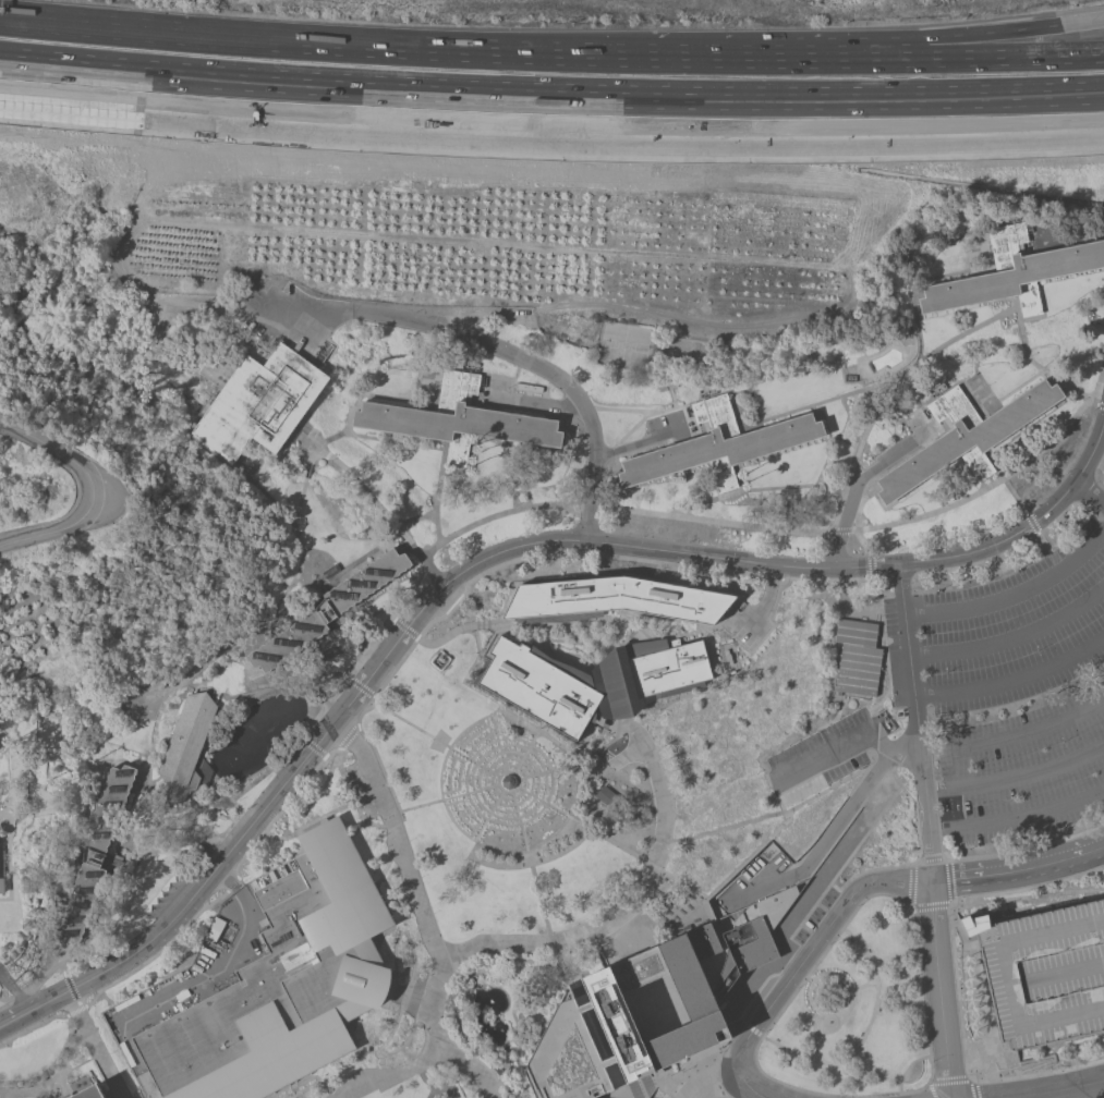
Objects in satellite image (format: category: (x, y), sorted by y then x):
road: (948, 35)
road: (618, 56)
road: (550, 63)
railway: (550, 86)
road: (451, 108)
road: (1005, 111)
road: (1004, 124)
road: (1075, 223)
crop: (175, 259)
building: (1012, 272)
parking lot: (272, 314)
park: (624, 346)
road: (508, 353)
park: (688, 355)
road: (1051, 376)
road: (893, 377)
road: (1052, 379)
road: (898, 383)
parking lot: (495, 386)
road: (1020, 387)
road: (667, 388)
building: (259, 403)
road: (534, 404)
road: (1100, 404)
road: (654, 412)
road: (545, 413)
building: (457, 419)
parking lot: (913, 424)
road: (629, 430)
road: (310, 436)
building: (965, 436)
road: (328, 441)
road: (392, 442)
road: (638, 443)
building: (718, 446)
parking lot: (893, 448)
road: (616, 462)
road: (256, 465)
road: (854, 471)
road: (739, 478)
road: (252, 484)
road: (360, 484)
road: (753, 489)
road: (94, 490)
road: (437, 491)
road: (853, 491)
road: (1089, 491)
road: (857, 514)
road: (416, 520)
road: (1032, 524)
road: (1028, 525)
road: (778, 530)
road: (293, 536)
road: (1043, 542)
road: (527, 556)
road: (870, 565)
road: (833, 578)
road: (1014, 594)
building: (612, 599)
road: (764, 603)
building: (328, 610)
road: (402, 626)
road: (620, 626)
road: (544, 631)
road: (1012, 633)
parking lot: (742, 635)
road: (444, 638)
road: (389, 648)
parking lot: (893, 651)
road: (217, 652)
road: (481, 652)
building: (857, 657)
road: (244, 670)
building: (593, 680)
road: (1012, 681)
road: (280, 685)
road: (360, 686)
road: (335, 691)
parking lot: (1019, 694)
road: (835, 717)
road: (347, 736)
road: (1016, 737)
road: (434, 739)
road: (497, 742)
road: (5, 743)
road: (159, 745)
building: (184, 745)
road: (310, 746)
road: (527, 746)
road: (838, 747)
road: (895, 748)
parking lot: (818, 758)
road: (578, 761)
road: (134, 766)
road: (9, 767)
road: (380, 770)
road: (439, 771)
road: (1015, 776)
road: (153, 780)
road: (323, 783)
road: (478, 788)
parking lot: (362, 791)
road: (533, 795)
road: (511, 797)
road: (353, 798)
building: (611, 798)
road: (538, 800)
road: (495, 802)
road: (275, 815)
road: (486, 815)
road: (767, 816)
road: (484, 818)
road: (1018, 820)
road: (191, 821)
road: (391, 821)
road: (927, 830)
road: (128, 839)
road: (610, 842)
road: (823, 843)
road: (524, 847)
road: (1026, 847)
road: (943, 849)
building: (94, 854)
road: (9, 857)
road: (927, 857)
road: (530, 866)
road: (4, 868)
road: (865, 870)
road: (1018, 870)
road: (729, 875)
road: (645, 879)
road: (948, 879)
building: (492, 882)
road: (230, 884)
road: (911, 884)
building: (1, 886)
road: (130, 891)
road: (1027, 895)
parking lot: (166, 896)
road: (931, 904)
road: (423, 912)
parking lot: (815, 916)
road: (45, 918)
road: (123, 932)
road: (788, 937)
road: (599, 948)
road: (499, 952)
road: (154, 954)
road: (536, 962)
road: (801, 962)
road: (62, 969)
road: (498, 971)
building: (1044, 972)
parking lot: (1044, 972)
road: (1063, 974)
road: (1, 975)
road: (473, 975)
road: (809, 977)
road: (1009, 979)
road: (955, 980)
road: (206, 983)
building: (283, 984)
road: (862, 985)
building: (609, 987)
road: (974, 987)
road: (14, 990)
street lamp: (36, 991)
road: (71, 991)
road: (453, 995)
road: (17, 996)
road: (404, 999)
road: (425, 1001)
road: (4, 1003)
road: (514, 1004)
road: (583, 1008)
park: (857, 1012)
road: (827, 1015)
road: (589, 1021)
road: (37, 1022)
road: (749, 1026)
road: (862, 1034)
road: (813, 1036)
road: (513, 1037)
road: (505, 1045)
road: (478, 1050)
road: (492, 1050)
road: (97, 1054)
road: (1048, 1056)
road: (1097, 1058)
road: (607, 1062)
road: (76, 1064)
road: (57, 1073)
road: (390, 1074)
road: (315, 1077)
road: (423, 1078)
road: (958, 1078)
road: (663, 1086)
road: (800, 1088)
road: (1060, 1090)
building: (89, 1093)
road: (432, 1093)
road: (708, 1093)
road: (456, 1094)
road: (5, 1095)
road: (292, 1096)

